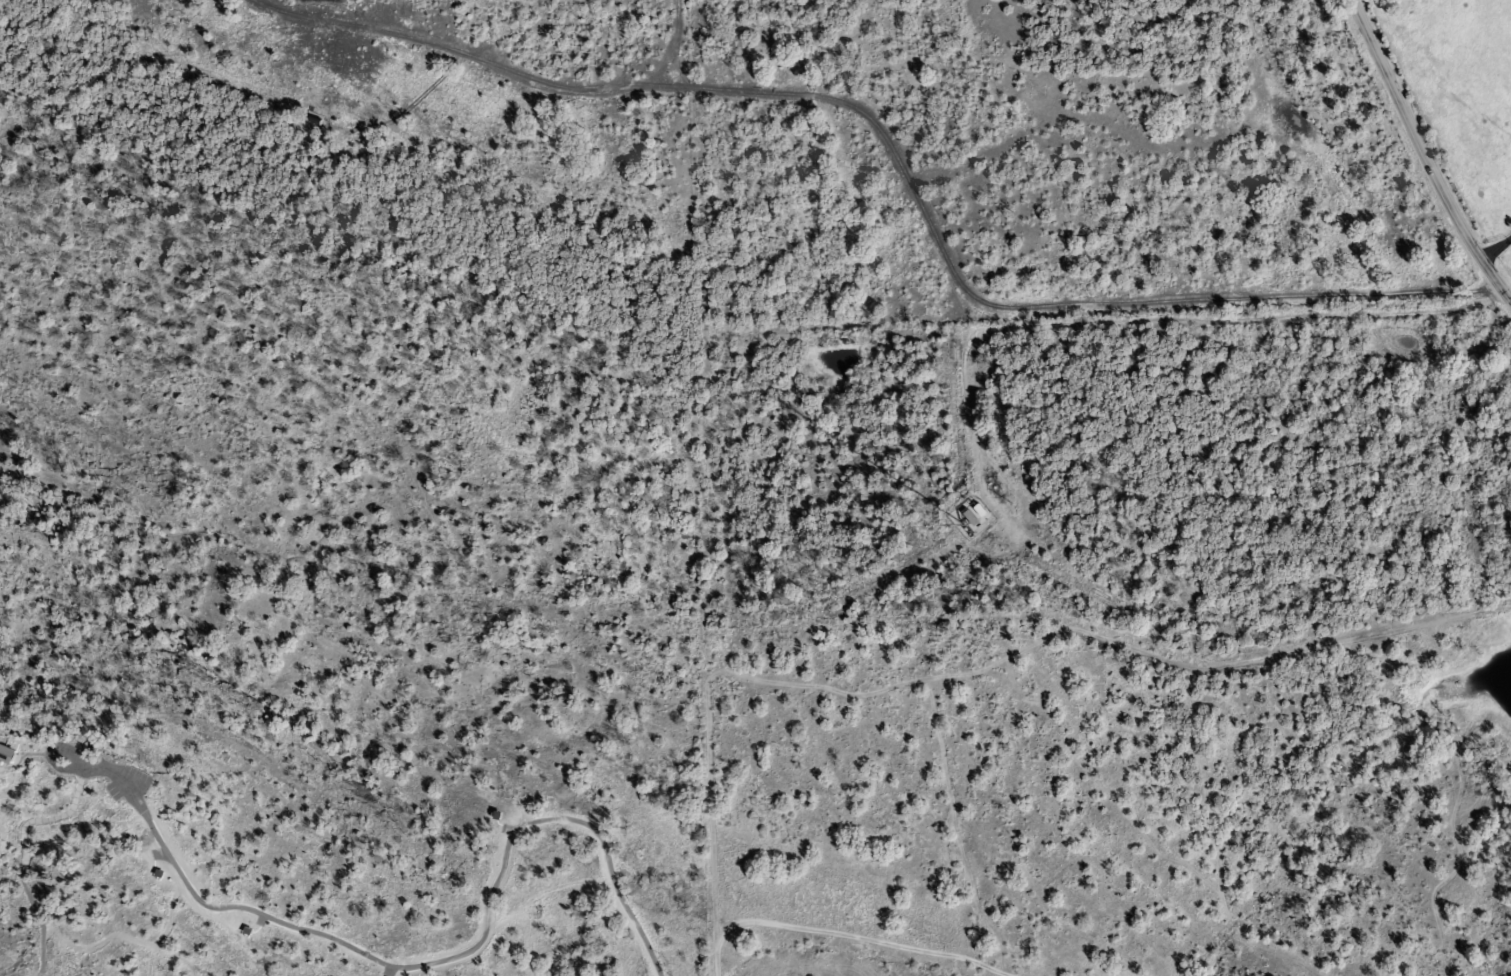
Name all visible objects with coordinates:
road: (492, 65)
road: (1423, 154)
road: (1495, 245)
road: (1156, 316)
building: (976, 511)

